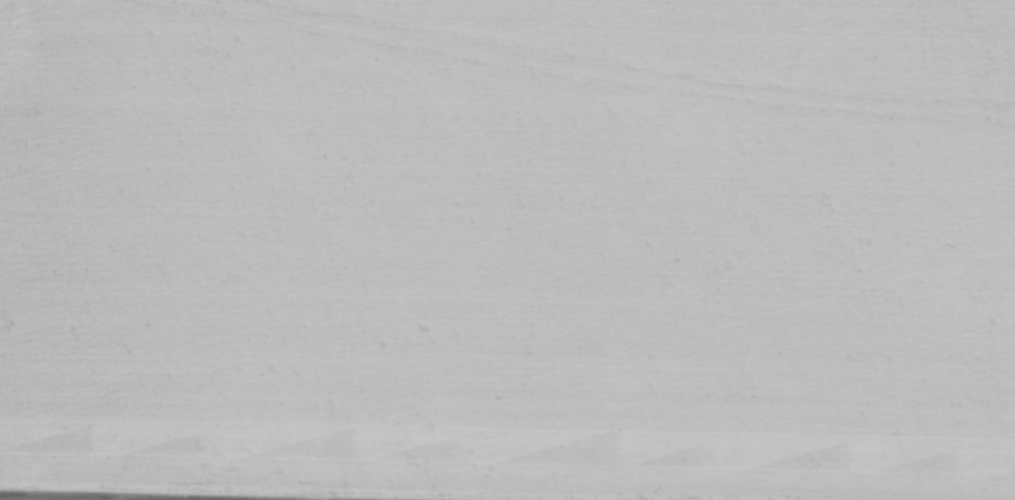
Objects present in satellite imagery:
road: (94, 497)

